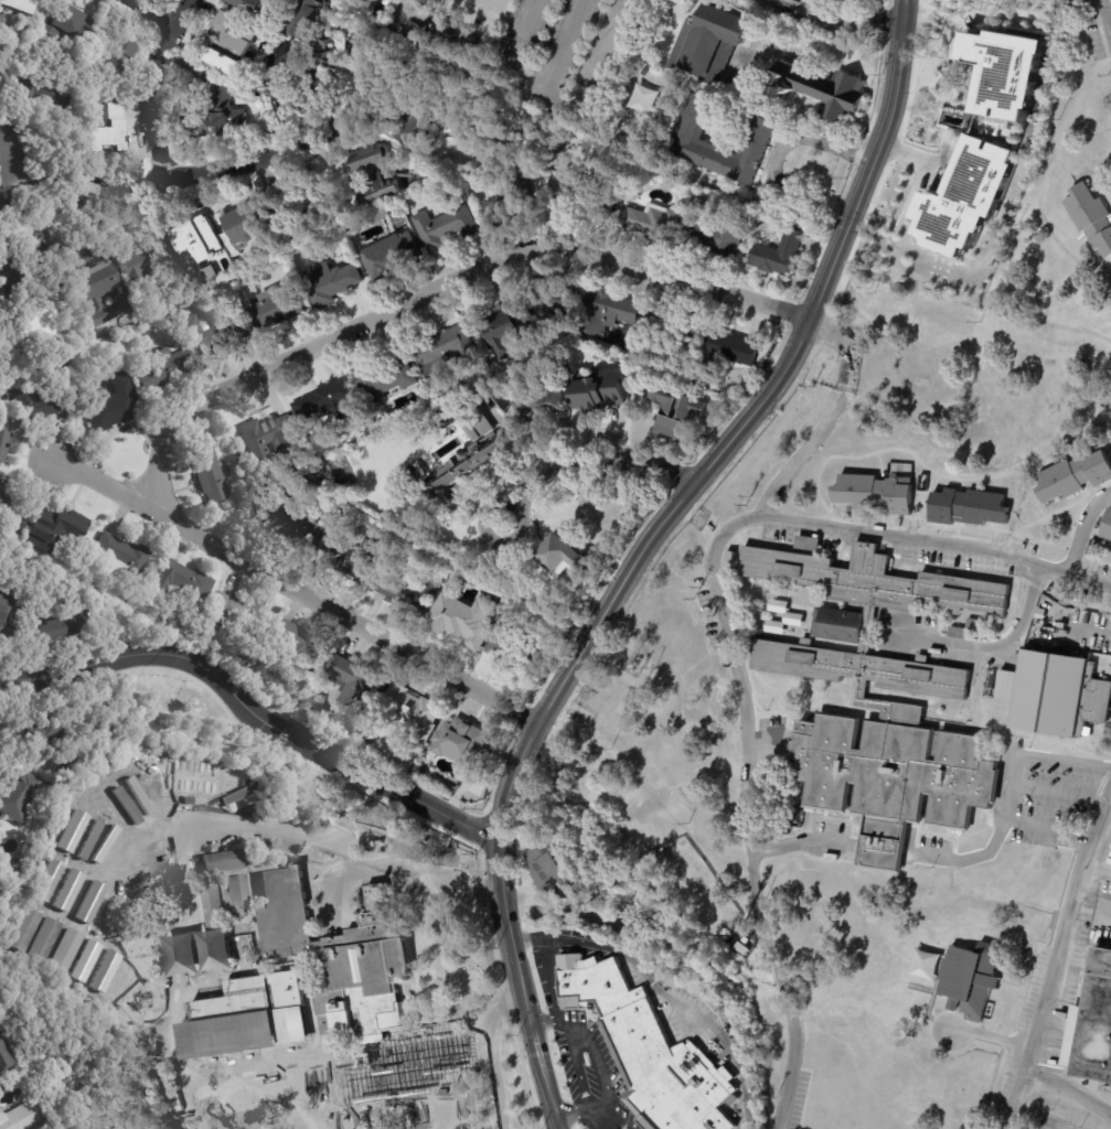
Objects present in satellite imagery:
building: (341, 4)
building: (15, 6)
building: (256, 7)
road: (154, 10)
road: (1107, 17)
road: (932, 22)
building: (480, 23)
building: (66, 24)
building: (311, 26)
road: (838, 28)
road: (516, 35)
building: (447, 39)
building: (711, 39)
building: (229, 44)
road: (558, 45)
building: (2, 55)
building: (107, 58)
building: (1002, 67)
building: (298, 69)
building: (0, 74)
building: (815, 84)
road: (148, 85)
building: (456, 86)
road: (580, 89)
building: (46, 96)
building: (642, 98)
building: (216, 108)
building: (414, 127)
building: (109, 132)
building: (558, 140)
building: (692, 143)
road: (905, 152)
road: (776, 158)
building: (444, 159)
road: (234, 160)
road: (10, 165)
building: (374, 175)
building: (584, 195)
building: (964, 198)
building: (511, 202)
building: (335, 206)
building: (1091, 217)
building: (297, 223)
building: (652, 223)
building: (445, 228)
building: (713, 230)
building: (248, 232)
building: (196, 251)
building: (778, 254)
building: (391, 257)
building: (136, 260)
building: (26, 268)
building: (331, 283)
road: (435, 287)
building: (98, 297)
building: (553, 303)
building: (276, 309)
building: (608, 313)
building: (677, 327)
building: (39, 329)
building: (503, 333)
building: (214, 337)
building: (731, 351)
building: (444, 352)
building: (2, 363)
building: (163, 370)
building: (387, 381)
building: (598, 393)
building: (325, 402)
building: (41, 405)
building: (540, 405)
building: (694, 412)
building: (115, 413)
building: (268, 437)
building: (3, 438)
road: (586, 458)
building: (469, 459)
building: (210, 476)
building: (1073, 476)
building: (874, 493)
building: (3, 498)
road: (508, 503)
building: (968, 506)
building: (287, 520)
building: (696, 523)
building: (1107, 526)
road: (1080, 527)
road: (517, 529)
building: (55, 533)
building: (11, 534)
building: (810, 542)
road: (933, 542)
road: (642, 552)
building: (353, 556)
building: (564, 557)
building: (122, 558)
building: (515, 576)
building: (182, 581)
road: (296, 587)
building: (408, 594)
building: (479, 601)
building: (562, 611)
building: (239, 613)
building: (9, 614)
building: (797, 616)
building: (65, 623)
building: (978, 625)
building: (461, 626)
road: (1083, 627)
building: (958, 633)
building: (502, 643)
building: (296, 645)
road: (983, 647)
building: (355, 681)
road: (736, 686)
building: (1055, 692)
building: (889, 706)
road: (253, 710)
building: (416, 714)
building: (58, 725)
building: (466, 744)
building: (74, 755)
road: (1011, 779)
road: (1057, 792)
building: (19, 799)
building: (188, 800)
parking lot: (264, 831)
road: (324, 841)
road: (799, 841)
road: (971, 856)
building: (223, 861)
parking lot: (418, 870)
building: (565, 875)
road: (335, 888)
road: (511, 893)
building: (237, 896)
parking lot: (324, 904)
building: (215, 906)
road: (633, 932)
building: (244, 946)
building: (744, 948)
road: (1050, 955)
building: (925, 965)
building: (969, 978)
road: (553, 979)
building: (290, 981)
road: (662, 989)
building: (285, 1006)
building: (237, 1011)
building: (195, 1013)
building: (331, 1020)
road: (545, 1021)
building: (235, 1022)
building: (1091, 1026)
building: (158, 1032)
road: (576, 1034)
road: (487, 1050)
building: (4, 1057)
road: (574, 1063)
road: (599, 1077)
road: (1067, 1093)
building: (683, 1094)
road: (594, 1108)
road: (568, 1110)
building: (20, 1117)
road: (586, 1118)
road: (612, 1119)
building: (313, 1125)
building: (259, 1127)
building: (39, 1128)
building: (42, 1128)

